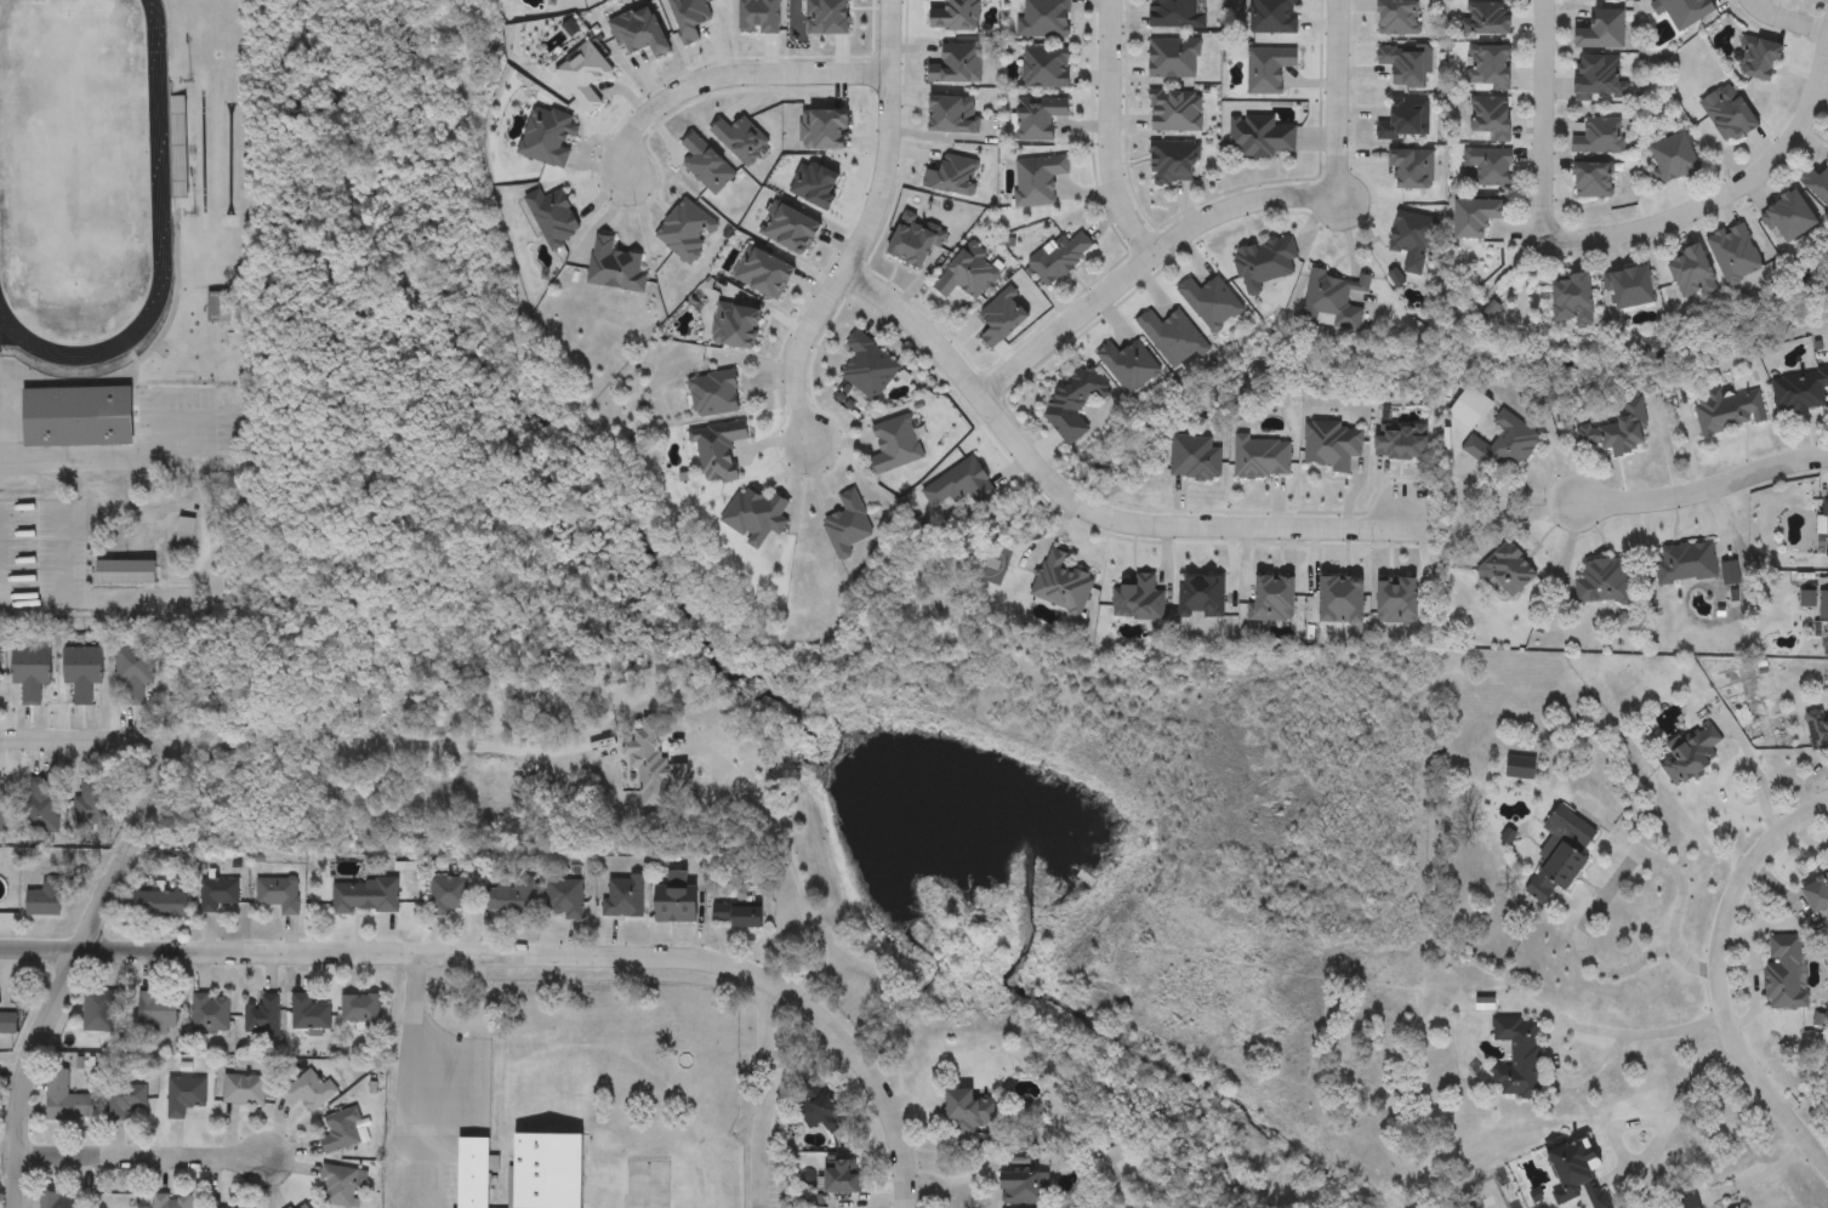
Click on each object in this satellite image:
building: (1686, 11)
building: (1178, 15)
building: (956, 16)
building: (1274, 17)
building: (1044, 19)
building: (1486, 19)
road: (1784, 21)
building: (1604, 28)
building: (1174, 58)
building: (1759, 58)
building: (958, 64)
building: (1403, 65)
building: (1491, 67)
building: (1047, 68)
building: (1269, 69)
road: (727, 73)
building: (585, 76)
building: (1599, 78)
road: (1337, 99)
building: (1175, 112)
building: (1729, 114)
building: (1040, 118)
building: (1491, 118)
building: (1405, 120)
road: (1543, 121)
road: (1107, 136)
building: (1263, 137)
building: (1601, 137)
building: (1674, 159)
building: (1173, 163)
building: (1490, 166)
building: (1594, 180)
building: (1037, 181)
building: (1817, 183)
road: (1722, 198)
building: (1477, 216)
building: (1790, 217)
road: (866, 232)
building: (1412, 240)
building: (1735, 253)
building: (1060, 257)
building: (1265, 263)
building: (616, 267)
road: (1145, 268)
building: (1693, 274)
building: (1634, 287)
building: (1573, 300)
building: (1336, 301)
building: (1212, 302)
building: (226, 308)
building: (1173, 337)
building: (1131, 365)
building: (869, 367)
building: (1800, 392)
building: (714, 394)
building: (1074, 408)
building: (1471, 409)
building: (1729, 412)
building: (78, 417)
building: (1618, 431)
building: (1333, 445)
building: (1504, 445)
building: (895, 446)
building: (718, 450)
building: (1262, 457)
road: (55, 466)
road: (1704, 485)
road: (1508, 490)
road: (1076, 506)
building: (756, 515)
building: (1826, 523)
building: (848, 526)
building: (183, 534)
building: (1686, 564)
building: (125, 572)
building: (1507, 572)
building: (1602, 582)
building: (1061, 585)
building: (1138, 600)
building: (1823, 625)
building: (30, 672)
building: (81, 672)
building: (133, 672)
building: (1817, 729)
road: (82, 740)
building: (1691, 754)
building: (651, 767)
building: (1520, 768)
road: (708, 787)
road: (729, 799)
building: (95, 804)
building: (41, 807)
building: (2, 816)
road: (784, 847)
building: (1560, 855)
road: (1617, 870)
building: (277, 894)
building: (217, 895)
building: (1817, 895)
building: (449, 896)
building: (365, 898)
building: (625, 898)
building: (512, 899)
building: (44, 900)
building: (564, 900)
building: (161, 905)
building: (677, 906)
building: (739, 913)
road: (526, 953)
road: (64, 965)
building: (1784, 974)
road: (1724, 978)
building: (96, 1009)
building: (156, 1010)
building: (360, 1012)
building: (308, 1014)
building: (210, 1015)
building: (261, 1016)
building: (7, 1024)
road: (1578, 1027)
building: (1519, 1059)
road: (408, 1079)
building: (243, 1090)
building: (308, 1090)
road: (762, 1094)
building: (184, 1096)
building: (66, 1100)
building: (126, 1100)
building: (820, 1109)
building: (969, 1111)
road: (1638, 1122)
building: (341, 1130)
road: (132, 1155)
road: (431, 1164)
building: (548, 1170)
building: (1579, 1172)
building: (473, 1173)
road: (1760, 1174)
building: (843, 1178)
building: (340, 1185)
building: (1026, 1190)
building: (56, 1201)
building: (120, 1202)
building: (171, 1202)
building: (300, 1206)

